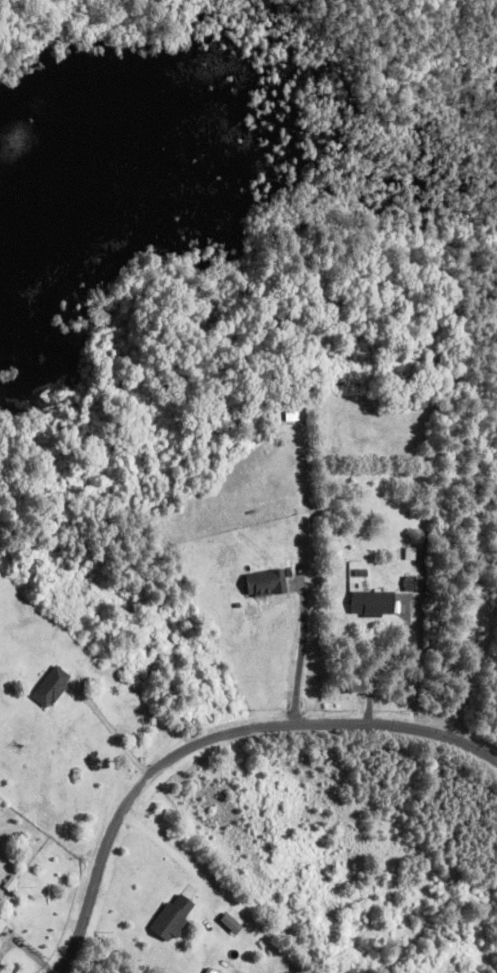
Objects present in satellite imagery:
building: (266, 584)
building: (372, 605)
building: (50, 687)
road: (211, 738)
building: (3, 928)

